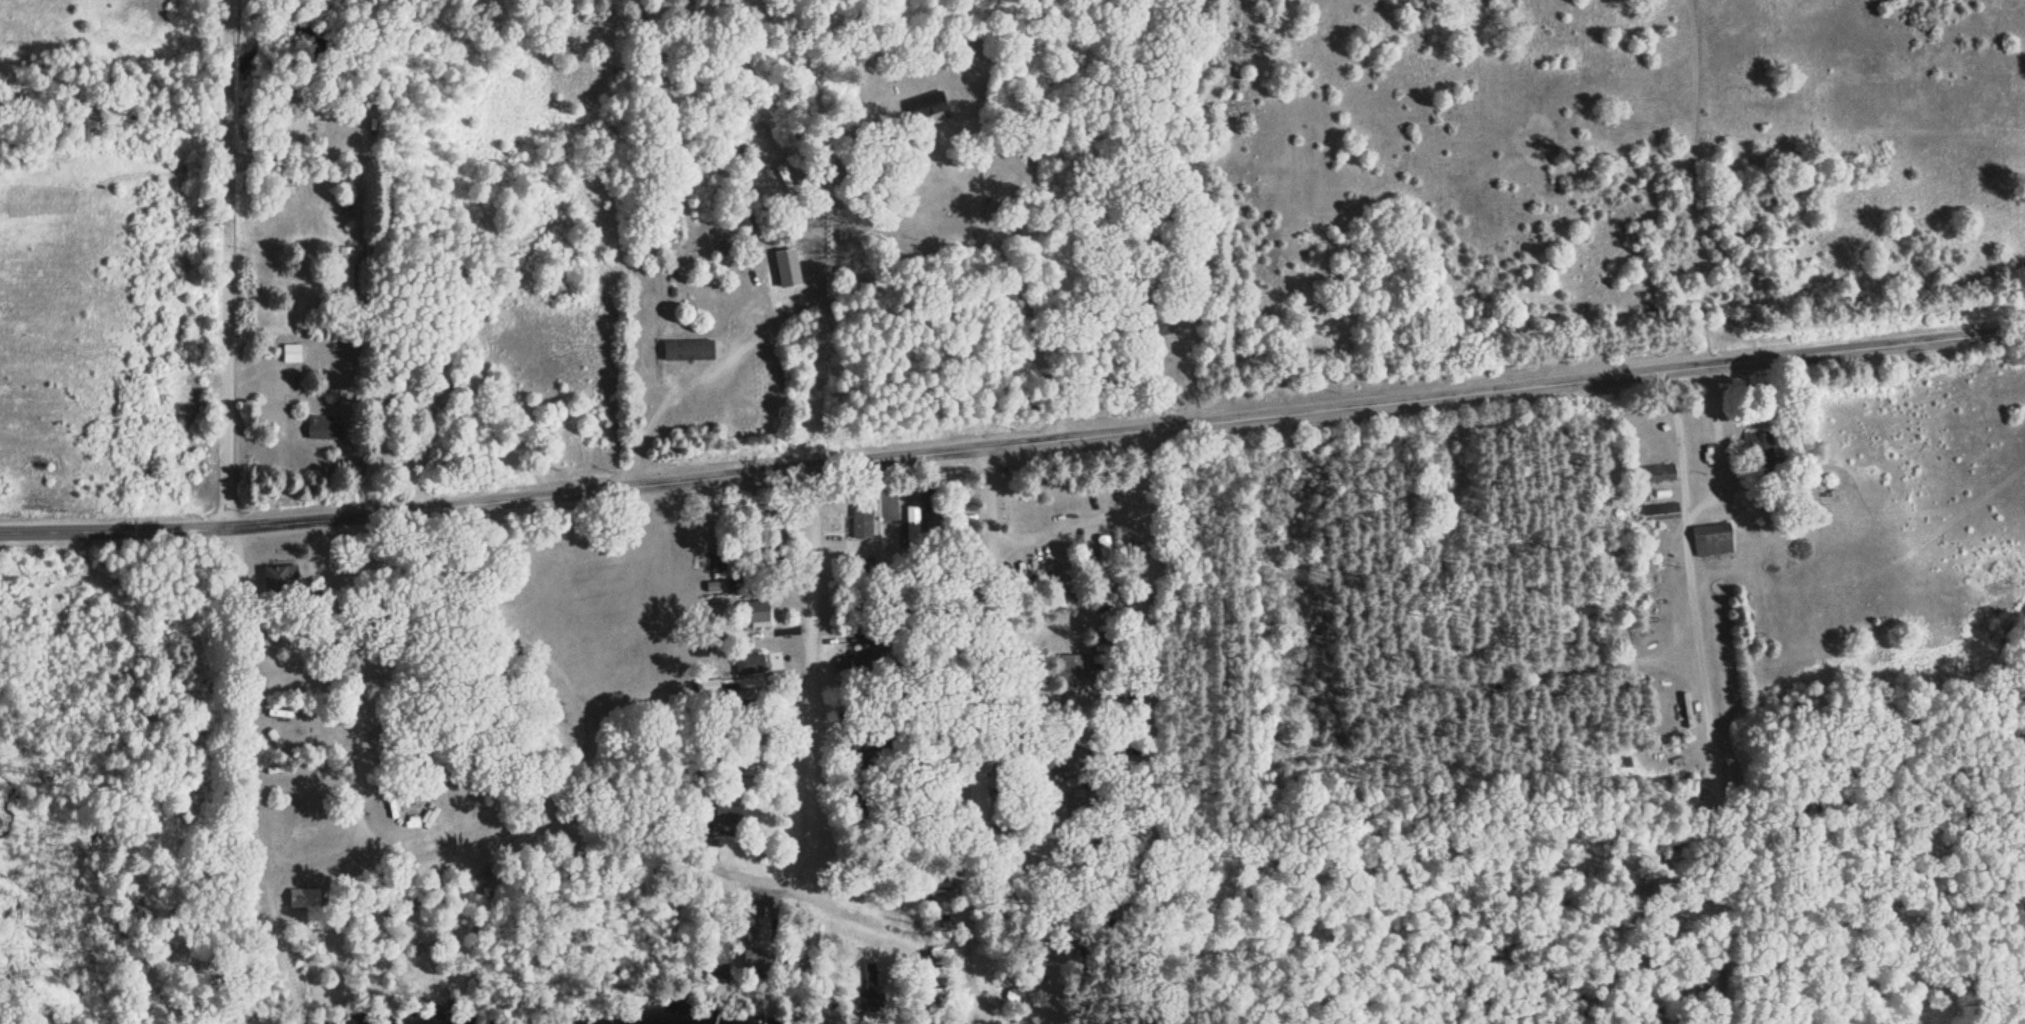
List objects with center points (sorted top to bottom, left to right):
building: (284, 186)
road: (229, 263)
building: (344, 273)
road: (770, 322)
building: (658, 327)
building: (1151, 327)
building: (294, 353)
building: (474, 425)
road: (1012, 432)
building: (860, 523)
road: (1100, 551)
building: (1104, 578)
road: (946, 585)
building: (1058, 597)
road: (808, 675)
building: (1077, 676)
road: (206, 680)
road: (1103, 806)
road: (773, 881)
road: (973, 1014)
road: (1000, 1016)
road: (970, 1019)

